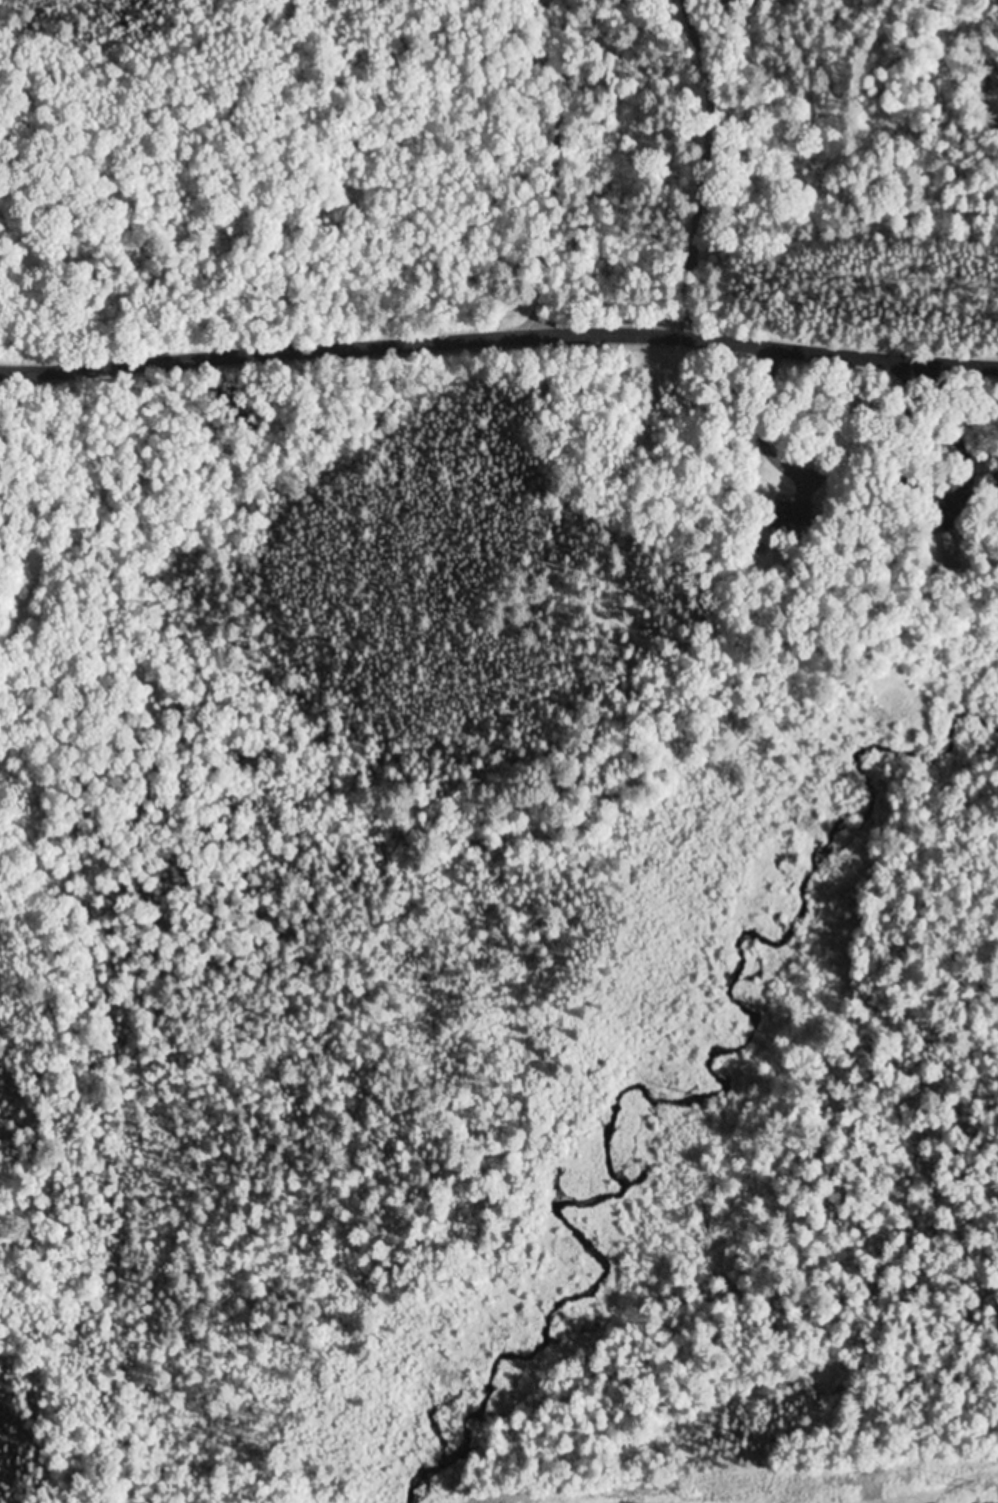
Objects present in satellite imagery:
road: (704, 167)
road: (554, 169)
road: (499, 341)
building: (995, 487)
building: (777, 513)
building: (944, 554)
power tower: (974, 1489)

